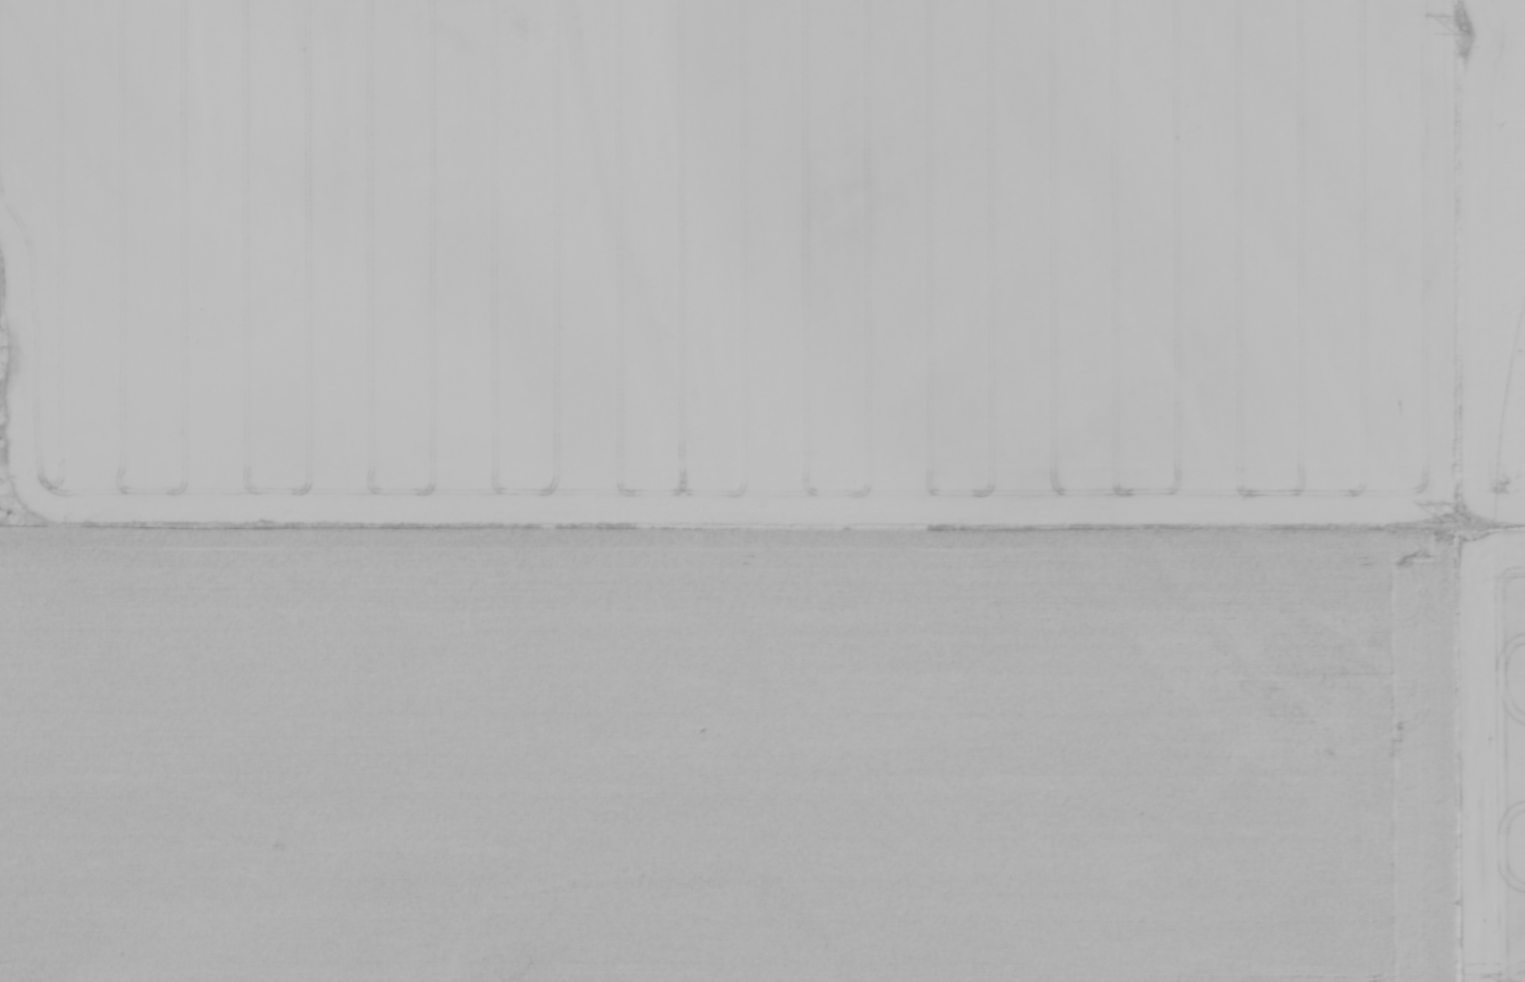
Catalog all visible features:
power tower: (1460, 31)
power tower: (1453, 515)

